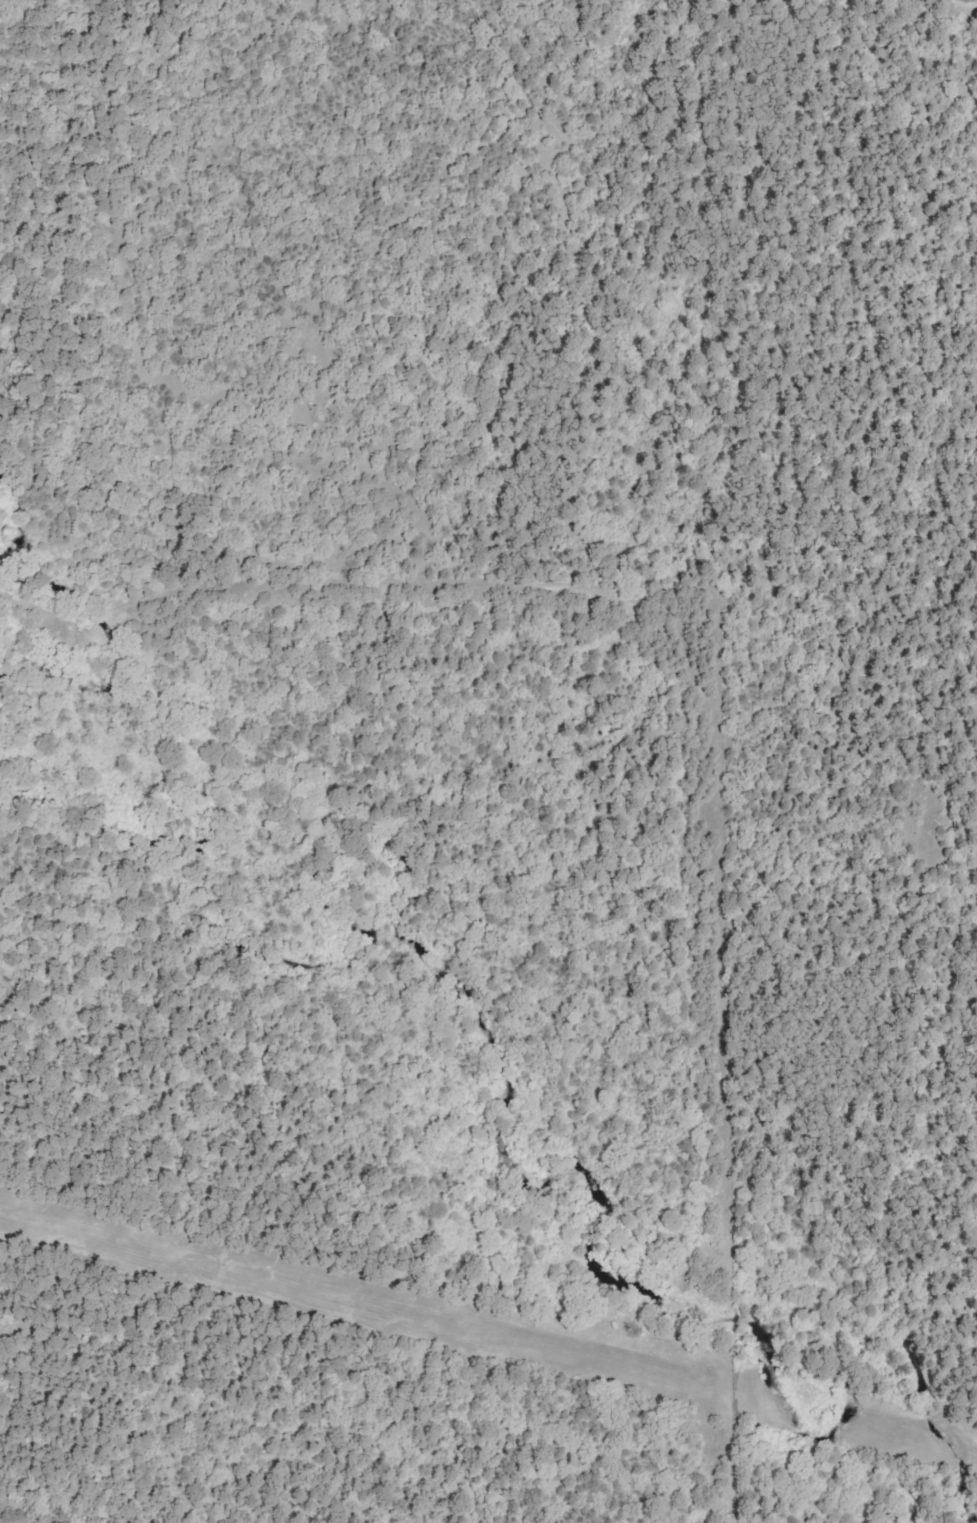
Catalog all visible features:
road: (423, 252)

